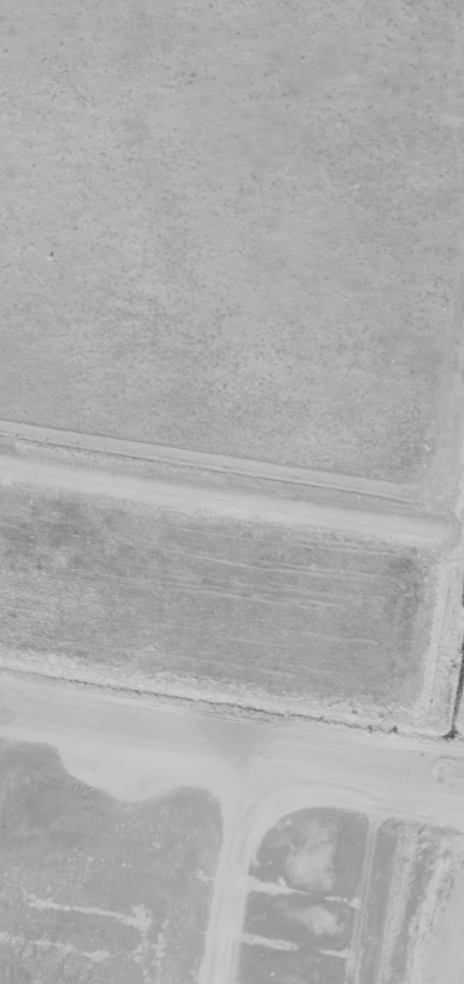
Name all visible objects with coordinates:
road: (232, 725)
road: (270, 798)

